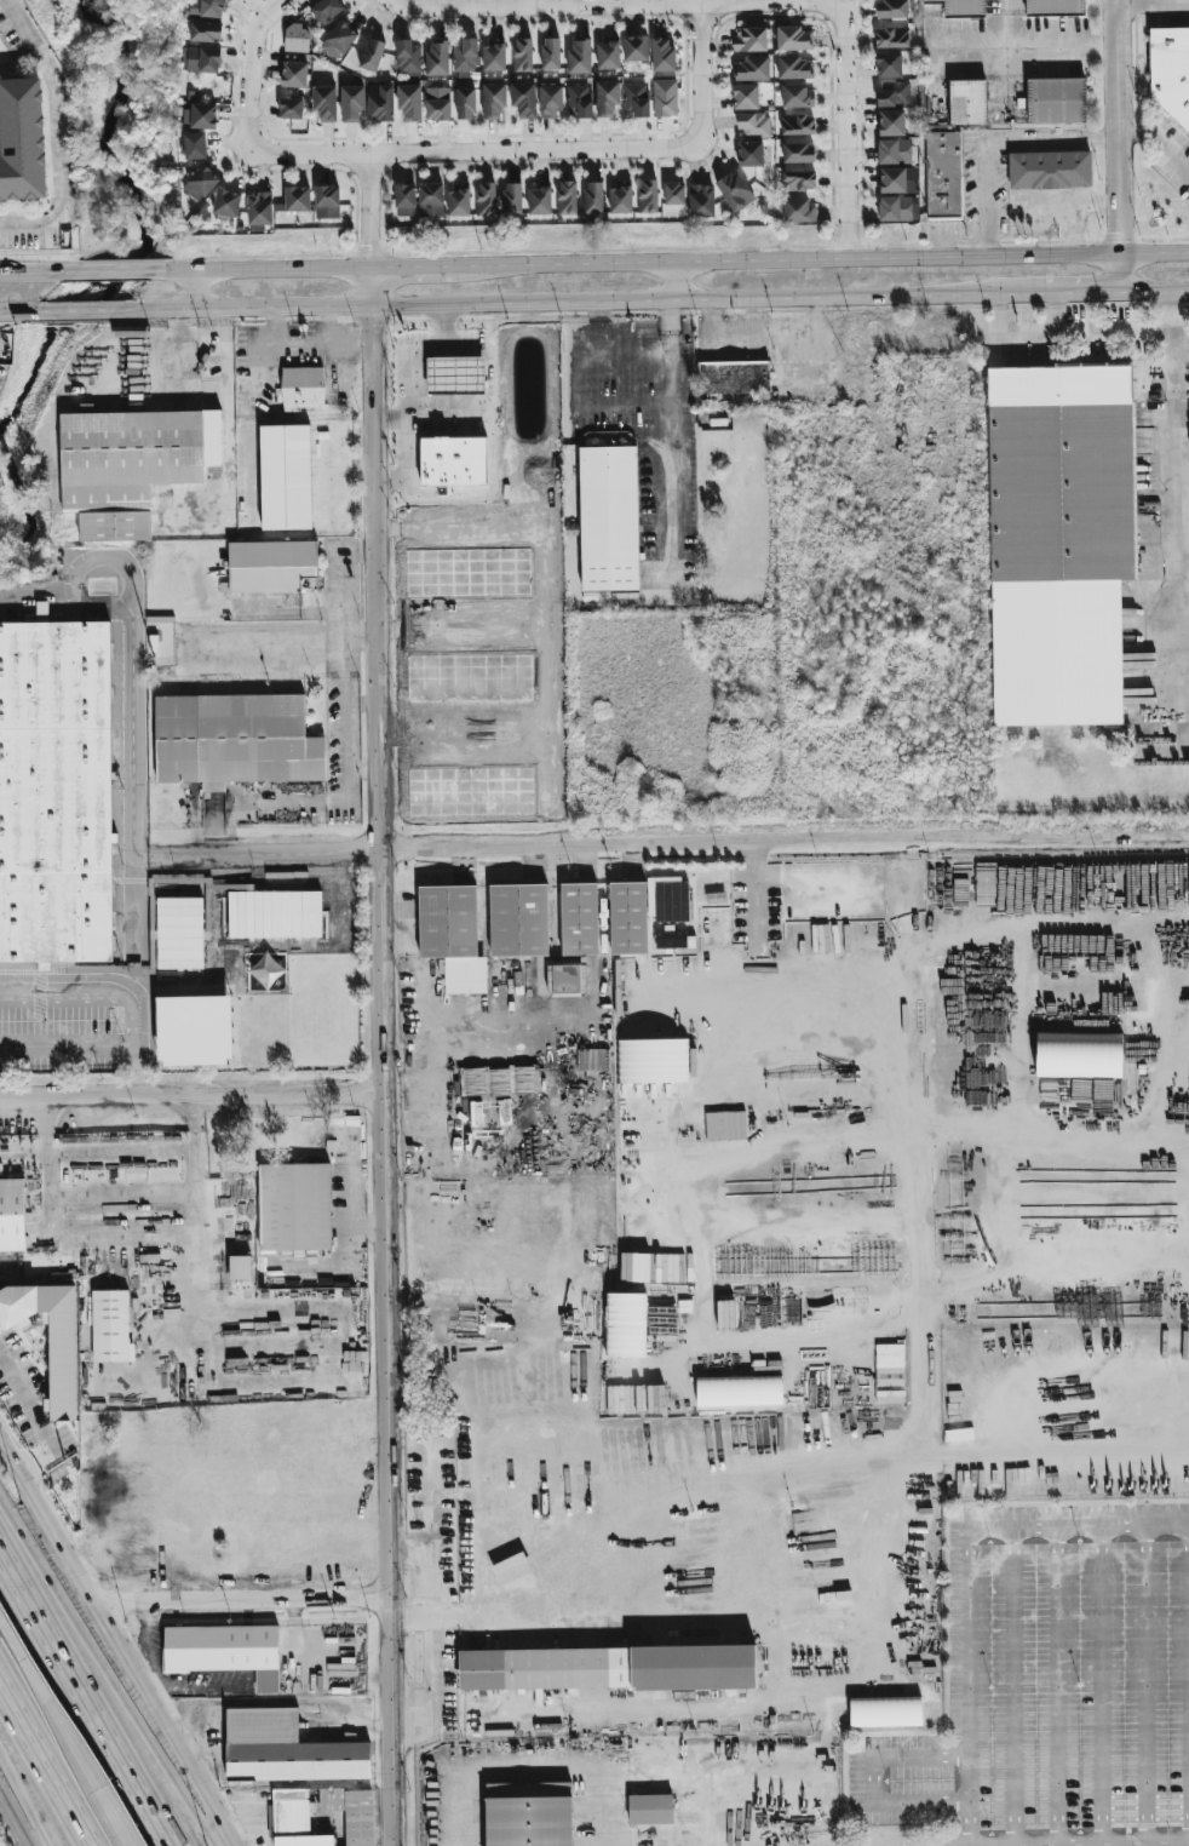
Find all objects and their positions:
road: (614, 5)
road: (1154, 5)
building: (960, 7)
building: (891, 8)
building: (1053, 8)
building: (326, 10)
building: (205, 31)
building: (891, 38)
building: (749, 39)
building: (793, 39)
building: (338, 40)
road: (1034, 40)
building: (636, 48)
building: (550, 53)
building: (372, 55)
building: (494, 55)
building: (522, 55)
building: (662, 55)
building: (465, 56)
building: (579, 56)
building: (608, 56)
building: (408, 58)
building: (437, 58)
building: (200, 59)
building: (889, 65)
road: (255, 68)
building: (794, 68)
building: (752, 69)
building: (293, 74)
building: (1170, 74)
road: (703, 75)
building: (892, 93)
building: (797, 96)
building: (745, 97)
building: (607, 98)
building: (665, 98)
building: (523, 99)
building: (636, 99)
building: (493, 101)
building: (1056, 101)
building: (550, 102)
building: (579, 102)
building: (967, 102)
building: (324, 103)
building: (351, 103)
building: (380, 103)
building: (409, 103)
building: (465, 103)
building: (437, 104)
building: (291, 108)
building: (200, 115)
building: (891, 122)
building: (753, 124)
building: (797, 125)
road: (845, 128)
road: (59, 134)
building: (21, 139)
road: (993, 141)
road: (1158, 144)
building: (195, 145)
road: (1119, 147)
building: (894, 151)
road: (477, 153)
building: (798, 153)
building: (749, 154)
building: (1049, 170)
building: (942, 174)
building: (798, 180)
building: (898, 180)
building: (200, 183)
building: (734, 191)
building: (673, 194)
building: (647, 196)
building: (565, 197)
building: (592, 197)
building: (297, 199)
building: (486, 199)
building: (512, 199)
building: (620, 199)
building: (404, 200)
building: (459, 200)
building: (539, 200)
building: (326, 201)
building: (430, 201)
building: (701, 201)
building: (226, 203)
road: (1070, 206)
building: (897, 208)
building: (259, 211)
road: (372, 211)
building: (798, 211)
road: (820, 259)
road: (410, 268)
road: (266, 269)
road: (115, 271)
road: (10, 273)
road: (44, 273)
road: (10, 274)
road: (674, 281)
road: (197, 289)
road: (1082, 293)
road: (1155, 293)
road: (581, 302)
road: (77, 311)
road: (16, 313)
road: (178, 331)
road: (1067, 333)
road: (167, 352)
road: (410, 362)
road: (632, 368)
building: (455, 375)
building: (734, 378)
building: (303, 389)
road: (489, 399)
road: (228, 430)
building: (453, 461)
road: (407, 464)
building: (131, 466)
road: (667, 469)
building: (285, 477)
road: (1176, 489)
building: (608, 520)
building: (1058, 539)
building: (269, 566)
road: (345, 577)
road: (362, 636)
road: (345, 669)
road: (131, 715)
road: (346, 736)
building: (235, 740)
building: (54, 790)
road: (786, 837)
road: (283, 853)
road: (157, 856)
building: (667, 899)
building: (274, 915)
building: (627, 918)
building: (579, 919)
building: (518, 921)
building: (178, 933)
building: (452, 936)
building: (670, 940)
road: (1137, 941)
building: (564, 979)
road: (506, 985)
road: (69, 997)
road: (301, 1005)
building: (194, 1031)
road: (661, 1033)
road: (137, 1047)
road: (193, 1054)
building: (1073, 1055)
road: (384, 1056)
road: (521, 1056)
building: (651, 1061)
road: (920, 1078)
building: (499, 1080)
road: (191, 1095)
building: (293, 1208)
building: (12, 1215)
road: (124, 1239)
road: (1051, 1244)
building: (240, 1268)
road: (1050, 1318)
building: (625, 1325)
building: (110, 1326)
road: (760, 1338)
building: (62, 1363)
road: (925, 1388)
building: (739, 1391)
road: (1029, 1450)
road: (424, 1576)
road: (969, 1580)
road: (271, 1600)
road: (125, 1604)
road: (722, 1616)
road: (4, 1632)
road: (117, 1638)
building: (225, 1651)
building: (607, 1668)
building: (289, 1672)
road: (110, 1684)
road: (433, 1684)
road: (1188, 1684)
road: (91, 1685)
road: (1144, 1685)
road: (1011, 1686)
parking lot: (1045, 1686)
road: (1056, 1686)
road: (1101, 1686)
building: (885, 1712)
road: (67, 1742)
building: (286, 1749)
road: (42, 1768)
road: (532, 1770)
road: (874, 1779)
road: (22, 1800)
building: (649, 1808)
building: (352, 1813)
building: (528, 1813)
road: (252, 1817)
road: (13, 1819)
building: (292, 1819)
road: (1144, 1842)

